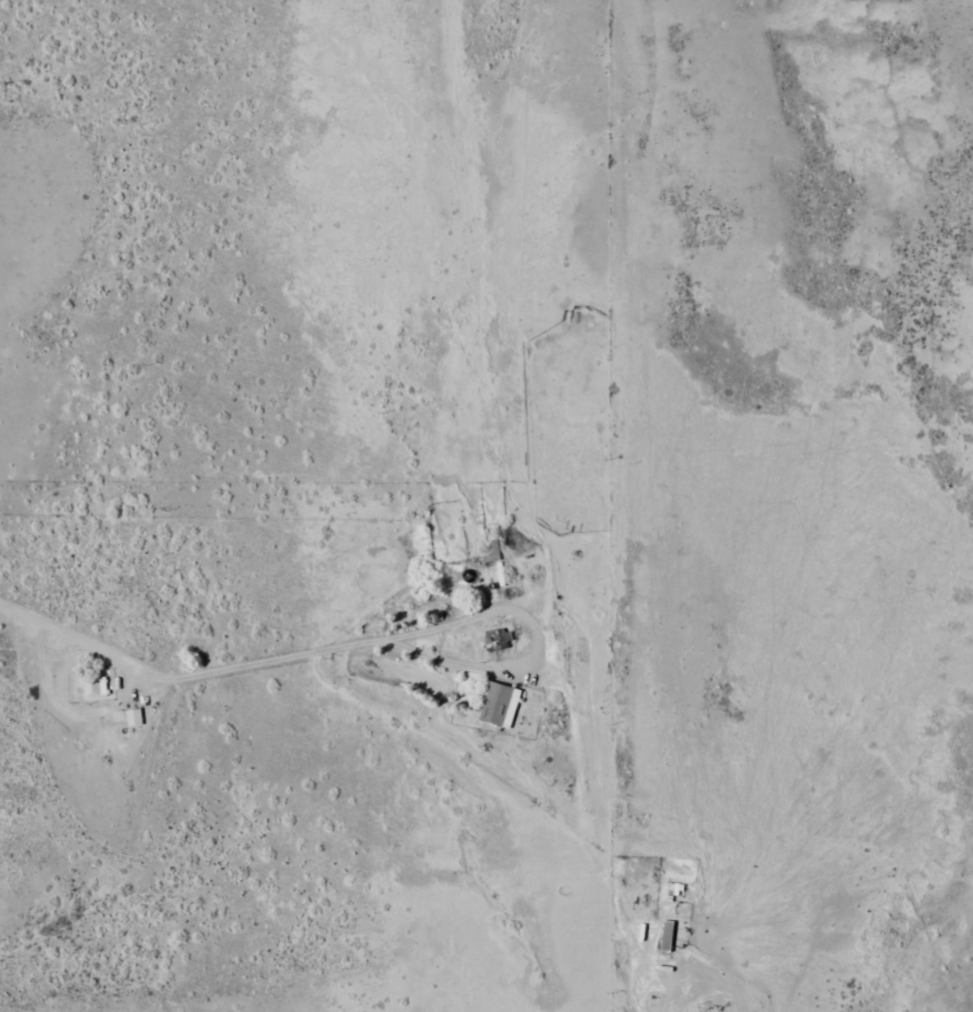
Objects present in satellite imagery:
road: (529, 629)
building: (496, 634)
road: (180, 671)
building: (93, 681)
building: (497, 698)
building: (127, 710)
building: (666, 928)
building: (702, 1009)

